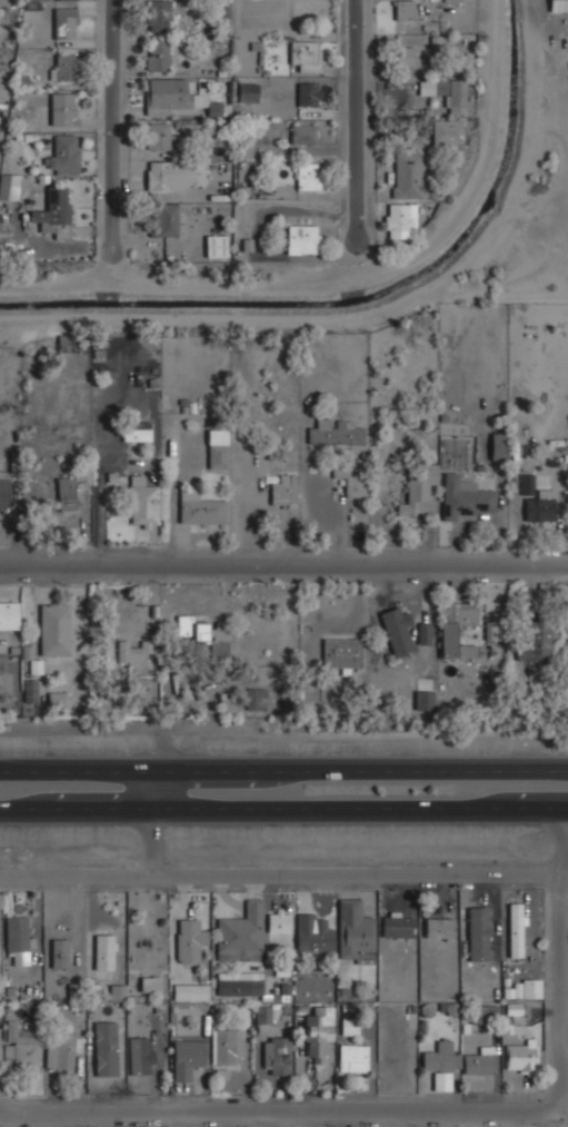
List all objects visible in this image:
building: (558, 6)
building: (403, 9)
building: (158, 14)
building: (64, 22)
building: (157, 53)
building: (305, 53)
building: (403, 53)
building: (63, 66)
building: (247, 91)
building: (445, 91)
building: (308, 93)
building: (176, 96)
building: (63, 107)
road: (365, 115)
road: (112, 116)
building: (447, 129)
building: (302, 132)
building: (157, 135)
building: (64, 152)
building: (407, 174)
building: (175, 175)
building: (307, 175)
building: (9, 187)
building: (53, 211)
building: (398, 216)
building: (163, 219)
building: (301, 238)
building: (216, 244)
building: (136, 431)
building: (335, 431)
building: (498, 445)
building: (217, 447)
building: (352, 475)
building: (527, 484)
building: (418, 487)
building: (283, 488)
building: (4, 490)
building: (66, 493)
building: (464, 497)
building: (142, 500)
building: (540, 506)
building: (199, 508)
road: (283, 564)
building: (9, 613)
building: (456, 627)
building: (54, 629)
building: (397, 630)
building: (488, 631)
building: (422, 632)
building: (207, 633)
building: (536, 644)
building: (341, 652)
building: (133, 653)
building: (34, 664)
building: (30, 690)
building: (256, 698)
building: (56, 699)
building: (422, 699)
building: (227, 704)
road: (103, 726)
road: (283, 769)
road: (158, 789)
road: (283, 807)
road: (333, 871)
building: (278, 920)
building: (397, 926)
building: (439, 927)
building: (352, 929)
building: (516, 929)
building: (311, 931)
building: (240, 932)
building: (478, 932)
building: (189, 939)
building: (17, 940)
building: (103, 950)
building: (59, 952)
road: (561, 981)
building: (150, 982)
building: (239, 982)
building: (528, 988)
building: (190, 990)
building: (117, 991)
building: (515, 1008)
building: (263, 1012)
building: (317, 1031)
building: (19, 1045)
building: (106, 1048)
building: (223, 1049)
building: (61, 1050)
building: (521, 1054)
building: (141, 1055)
building: (277, 1055)
building: (186, 1057)
building: (352, 1057)
building: (440, 1057)
building: (479, 1060)
road: (341, 1111)

